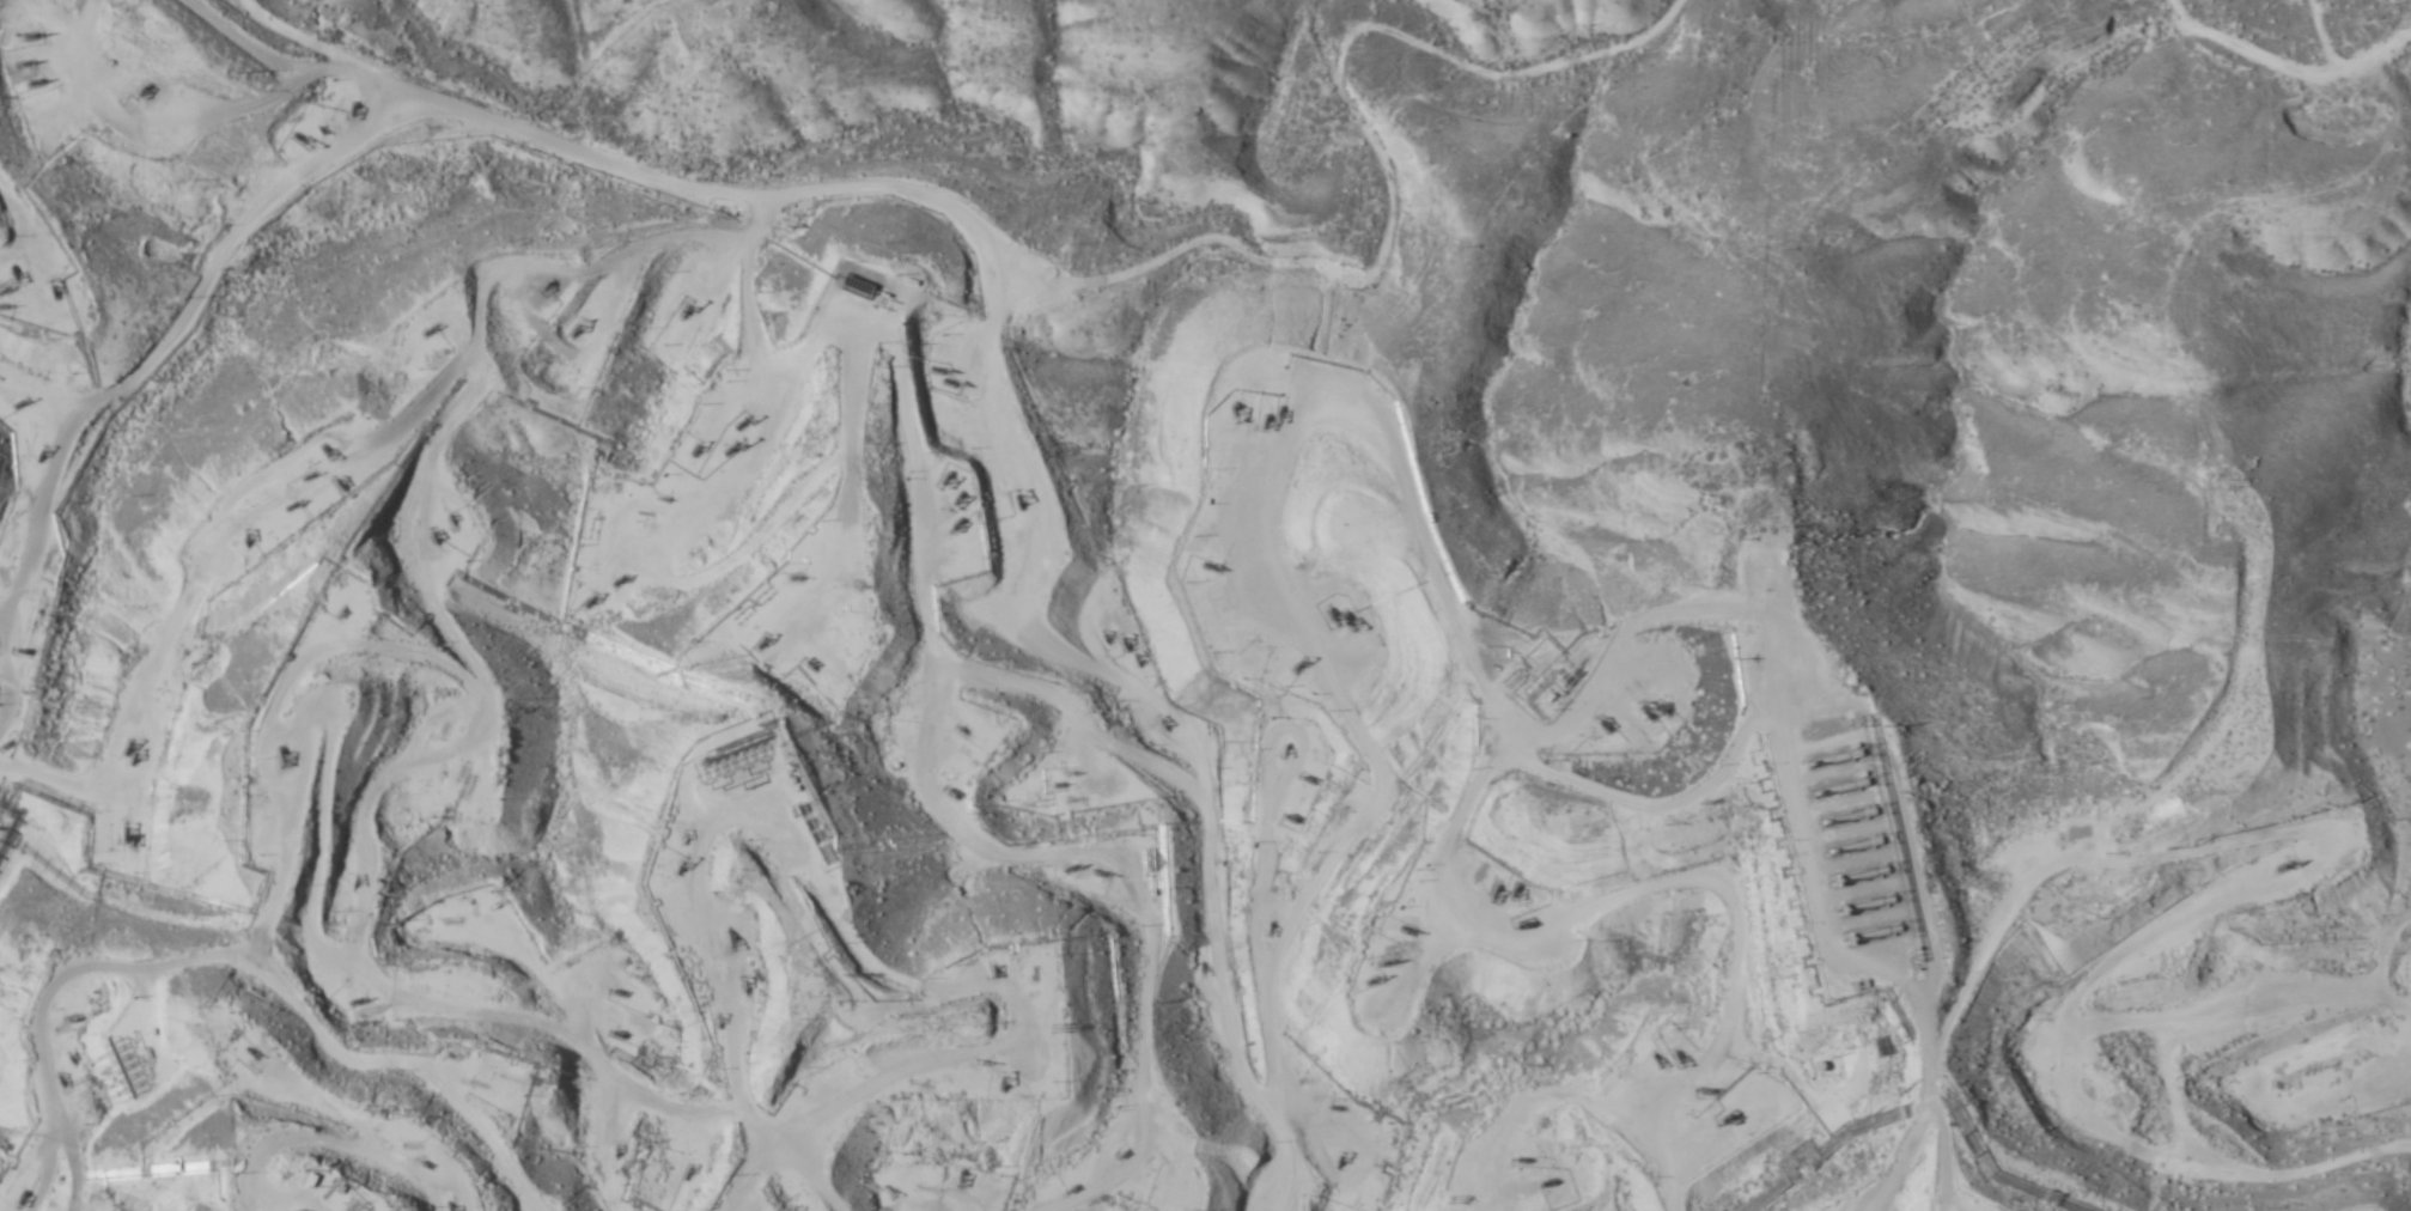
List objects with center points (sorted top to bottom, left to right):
road: (334, 104)
building: (872, 287)
road: (134, 384)

